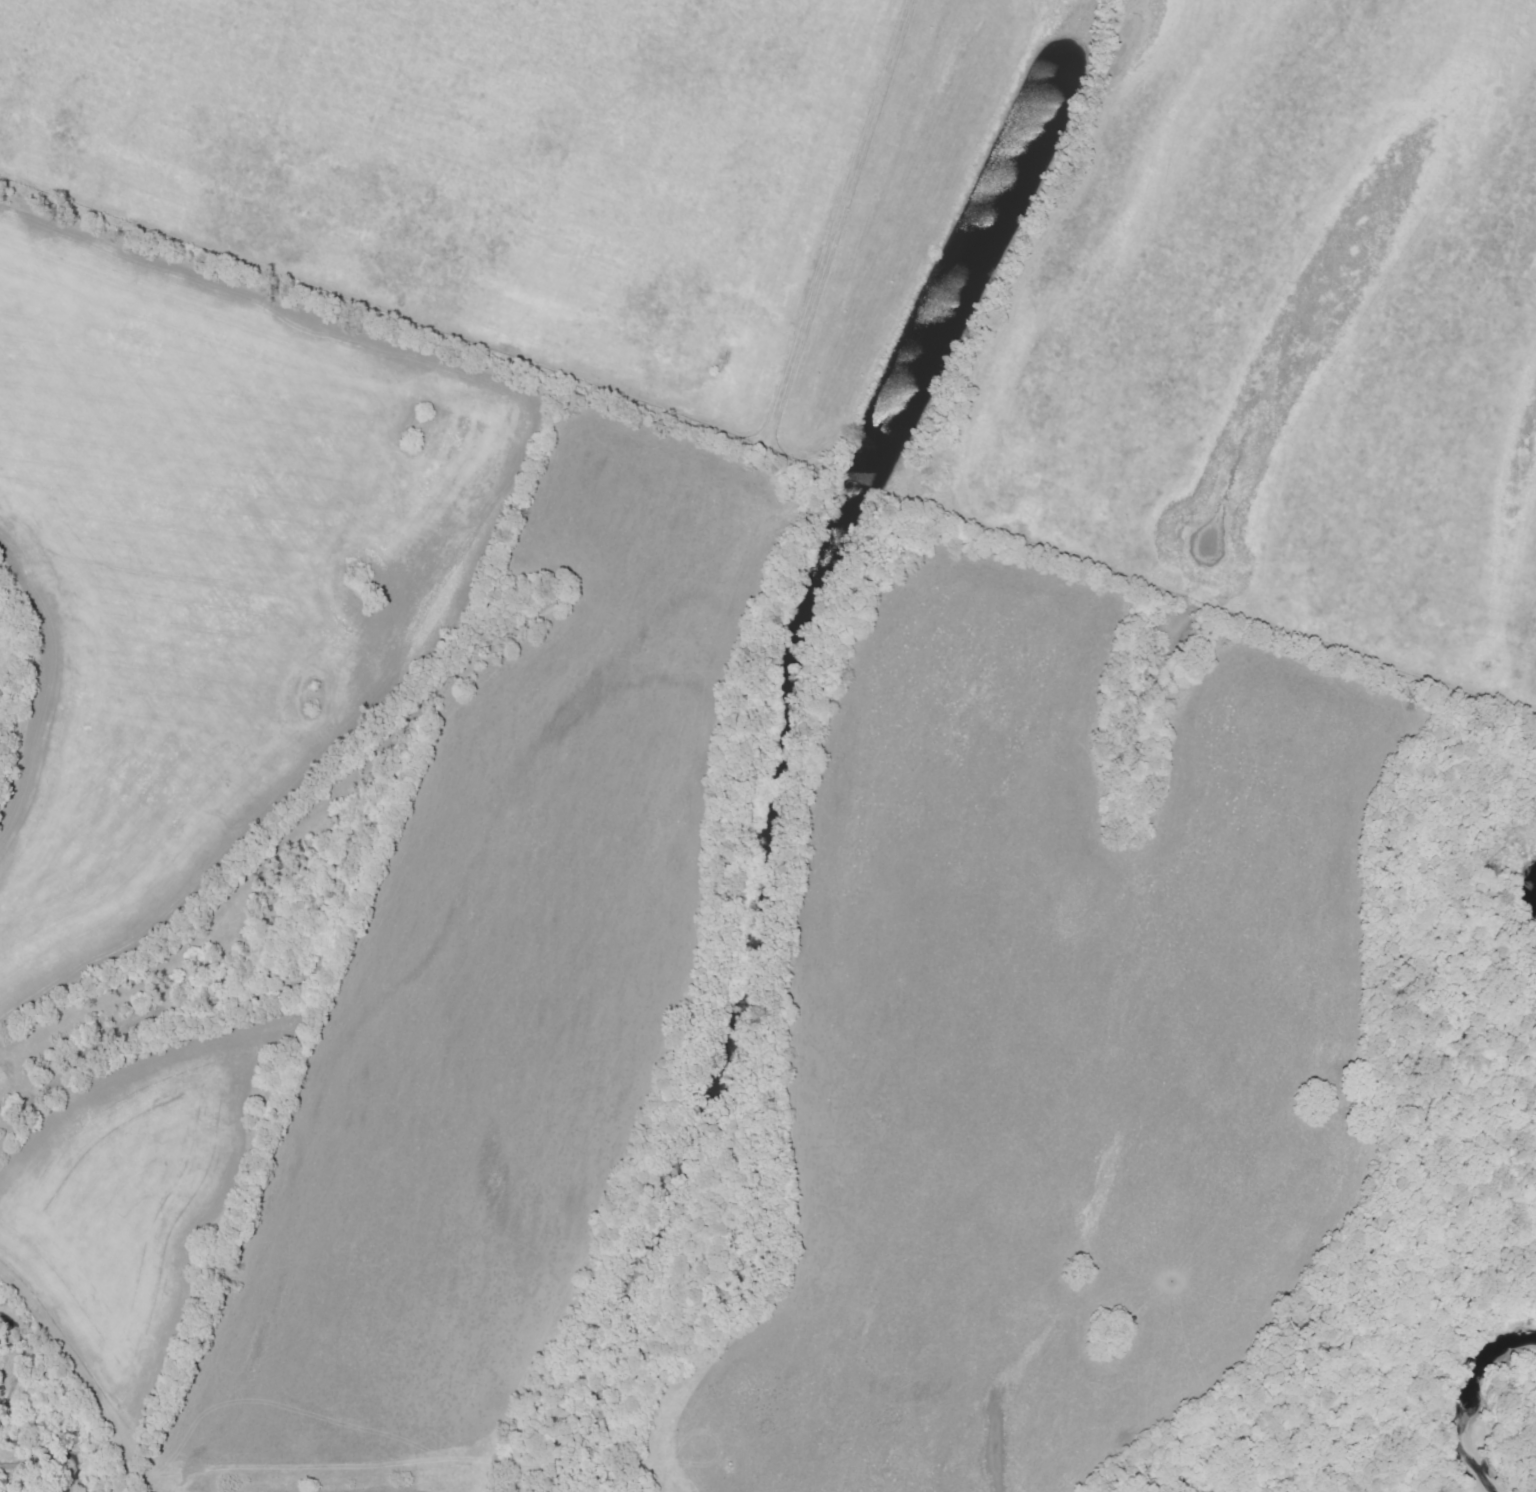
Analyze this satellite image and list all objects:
river: (1476, 1395)

